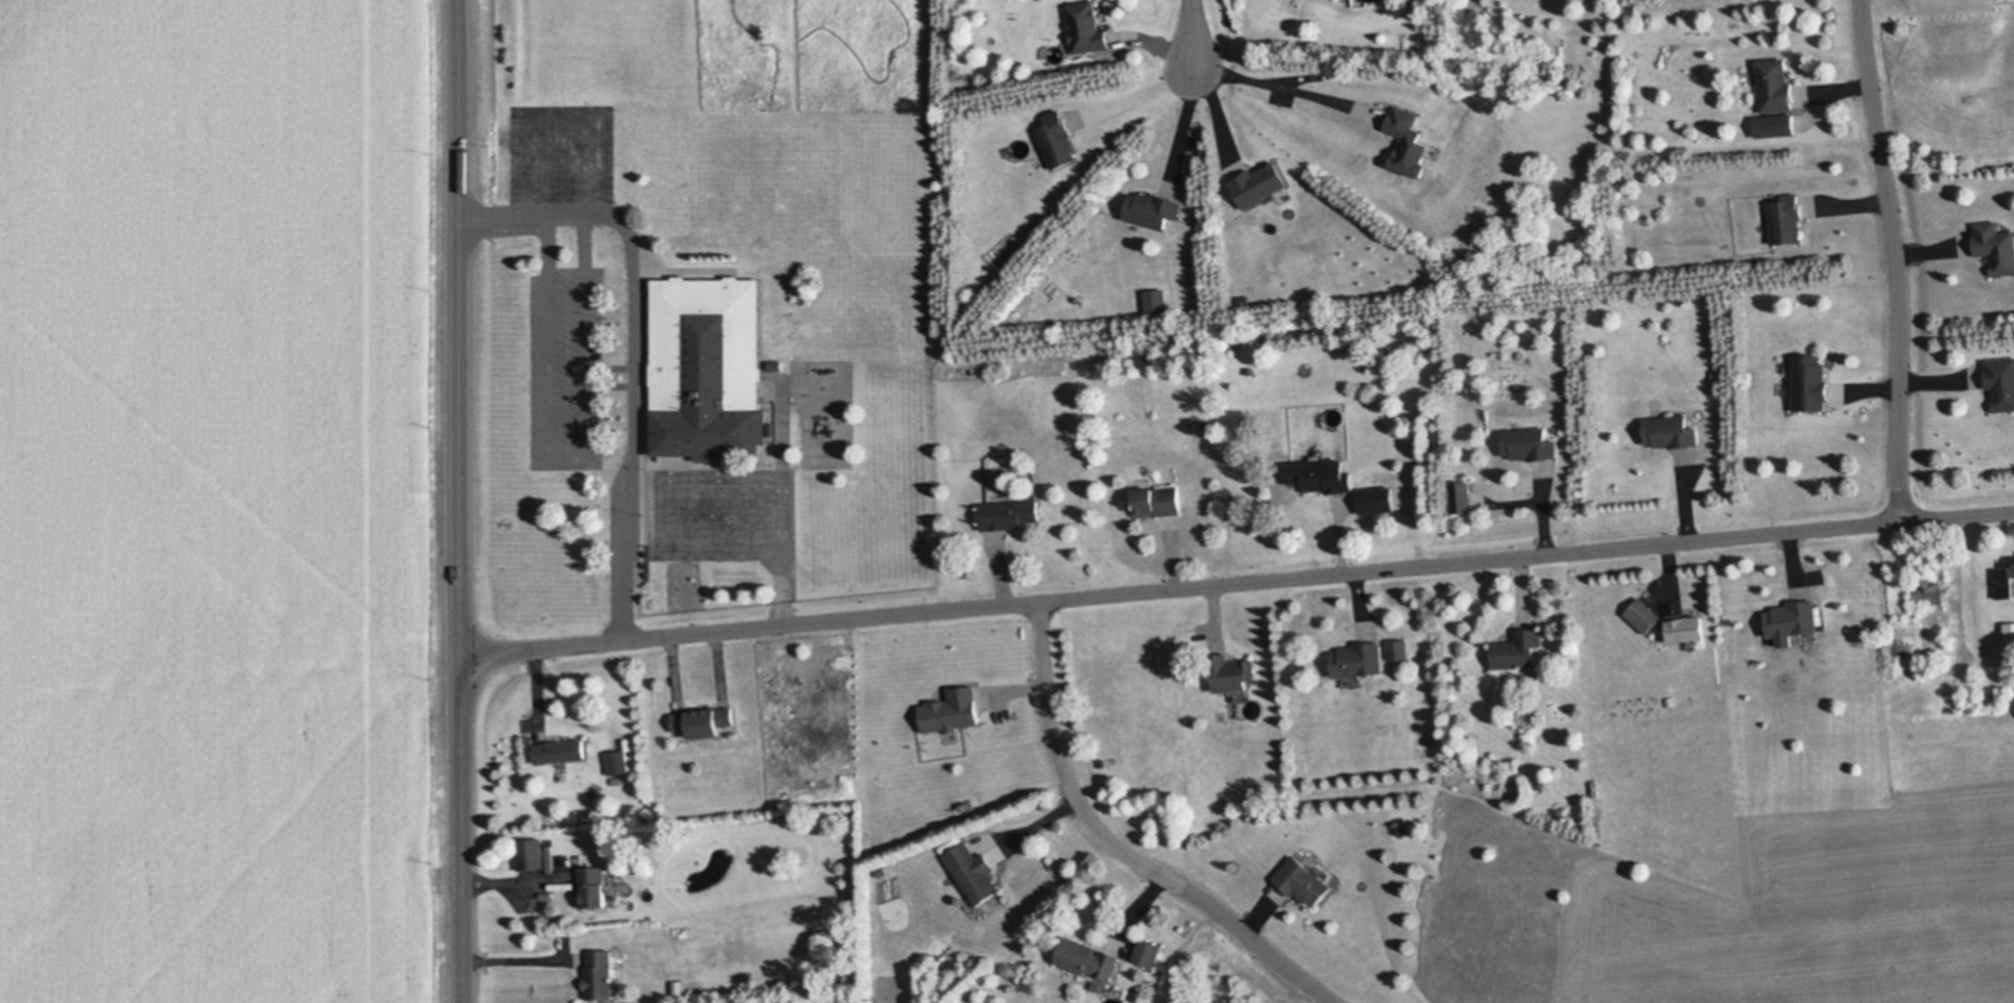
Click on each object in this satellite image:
building: (1370, 0)
building: (1087, 27)
road: (1190, 35)
building: (1775, 85)
road: (563, 114)
building: (1777, 126)
building: (1057, 139)
building: (1408, 142)
parking lot: (561, 170)
building: (1259, 185)
building: (1152, 209)
building: (1786, 219)
building: (1995, 245)
road: (1895, 259)
building: (1155, 301)
road: (581, 359)
building: (777, 365)
parking lot: (580, 368)
building: (711, 370)
building: (1719, 375)
building: (2001, 382)
building: (1810, 383)
building: (1208, 425)
building: (1670, 432)
building: (1529, 444)
building: (1328, 477)
road: (701, 492)
building: (1462, 496)
road: (461, 501)
building: (1378, 501)
building: (1157, 502)
building: (1009, 514)
parking lot: (718, 515)
building: (1944, 545)
building: (2004, 579)
road: (1238, 582)
building: (1932, 586)
building: (1792, 621)
building: (1668, 623)
building: (2009, 632)
building: (1399, 649)
building: (1518, 649)
building: (1358, 660)
building: (1230, 672)
building: (1671, 701)
building: (951, 710)
building: (703, 720)
building: (561, 751)
building: (618, 761)
building: (1561, 814)
road: (1119, 846)
building: (531, 853)
building: (883, 872)
building: (973, 873)
building: (1303, 881)
road: (514, 883)
building: (592, 886)
road: (478, 891)
building: (1148, 952)
building: (1087, 958)
road: (522, 961)
building: (599, 975)

